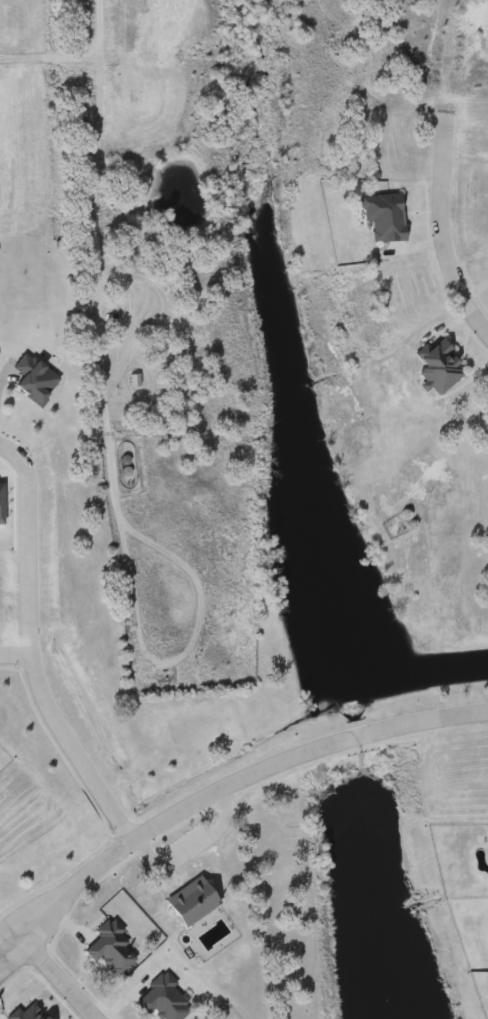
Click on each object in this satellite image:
road: (437, 237)
road: (96, 265)
building: (435, 367)
road: (30, 650)
road: (15, 652)
road: (186, 659)
road: (257, 764)
building: (190, 900)
road: (28, 907)
road: (29, 929)
building: (108, 947)
road: (57, 978)

